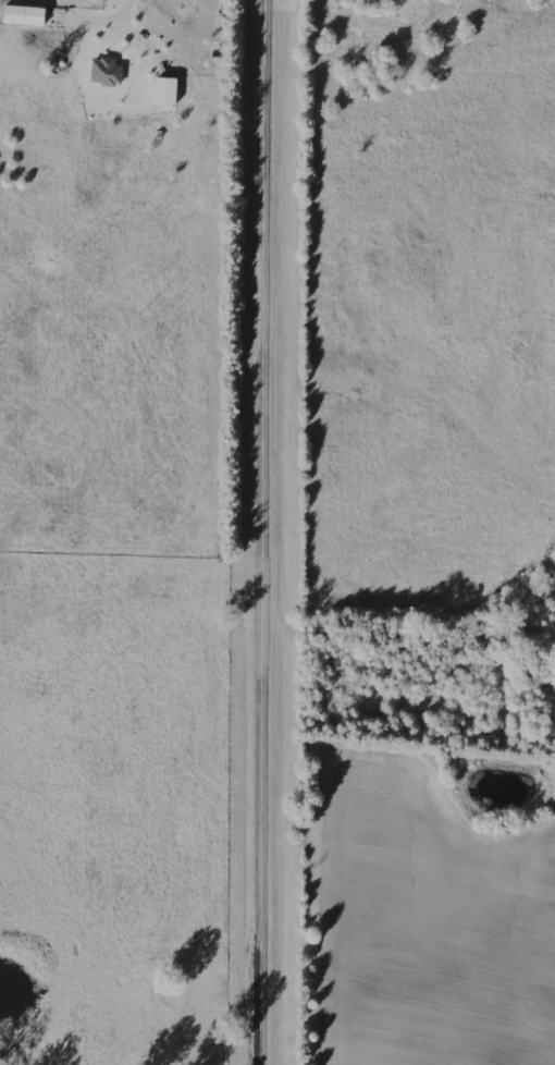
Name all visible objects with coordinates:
building: (25, 15)
building: (106, 72)
building: (166, 91)
road: (266, 531)

